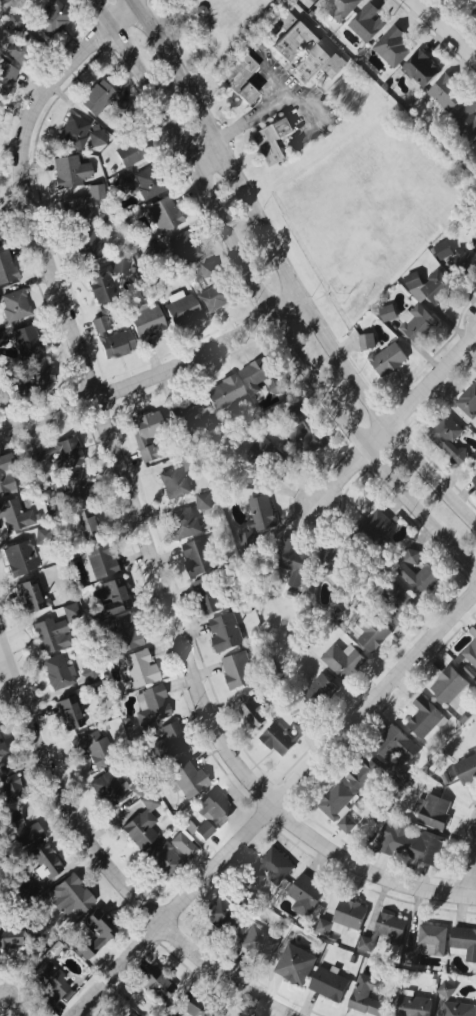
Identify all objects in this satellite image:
building: (309, 0)
building: (3, 1)
building: (340, 7)
building: (475, 16)
building: (51, 17)
building: (367, 22)
road: (446, 28)
building: (23, 46)
building: (393, 47)
building: (304, 50)
building: (421, 68)
building: (5, 78)
building: (240, 79)
building: (446, 92)
building: (96, 98)
road: (260, 108)
building: (466, 118)
building: (73, 131)
building: (96, 138)
building: (268, 141)
building: (130, 152)
building: (69, 171)
building: (120, 183)
building: (147, 183)
building: (95, 191)
building: (76, 212)
building: (163, 214)
building: (0, 241)
building: (88, 244)
building: (182, 247)
building: (443, 249)
building: (466, 258)
building: (120, 266)
building: (6, 268)
building: (209, 268)
road: (293, 269)
building: (101, 285)
building: (429, 286)
building: (215, 297)
road: (272, 298)
building: (14, 305)
building: (181, 309)
building: (388, 312)
building: (145, 320)
building: (417, 322)
building: (99, 325)
building: (367, 340)
building: (26, 341)
building: (116, 344)
building: (388, 359)
road: (158, 371)
building: (38, 374)
building: (256, 375)
building: (277, 385)
building: (224, 393)
building: (468, 400)
building: (184, 410)
building: (302, 419)
road: (402, 428)
building: (143, 433)
building: (449, 438)
building: (309, 440)
building: (57, 454)
building: (5, 473)
building: (474, 481)
building: (174, 483)
building: (75, 487)
road: (139, 500)
building: (204, 500)
building: (14, 515)
building: (259, 518)
building: (184, 523)
building: (83, 524)
building: (377, 526)
building: (199, 556)
building: (412, 556)
building: (19, 558)
building: (332, 558)
building: (98, 560)
building: (294, 561)
building: (421, 576)
building: (211, 594)
building: (30, 595)
building: (111, 596)
building: (397, 604)
building: (69, 611)
building: (370, 630)
building: (124, 631)
building: (225, 632)
building: (50, 635)
building: (471, 647)
road: (5, 654)
building: (343, 660)
building: (138, 668)
building: (238, 669)
building: (56, 672)
building: (451, 686)
building: (320, 688)
building: (151, 704)
building: (67, 712)
building: (254, 713)
building: (425, 717)
building: (300, 727)
building: (277, 738)
building: (168, 740)
building: (395, 744)
building: (92, 749)
building: (1, 750)
building: (466, 768)
building: (364, 773)
building: (185, 778)
building: (9, 784)
building: (106, 789)
road: (267, 799)
building: (337, 805)
building: (432, 810)
building: (210, 813)
building: (141, 823)
building: (20, 828)
building: (410, 841)
building: (168, 854)
road: (103, 858)
building: (42, 860)
building: (271, 866)
road: (470, 880)
building: (305, 893)
building: (70, 895)
building: (218, 909)
building: (324, 926)
building: (384, 930)
building: (94, 932)
building: (9, 938)
building: (432, 939)
building: (257, 942)
building: (464, 942)
building: (294, 964)
building: (49, 982)
building: (328, 982)
building: (156, 983)
building: (446, 988)
road: (11, 990)
building: (366, 994)
building: (187, 1005)
building: (413, 1005)
building: (458, 1008)
building: (129, 1015)

